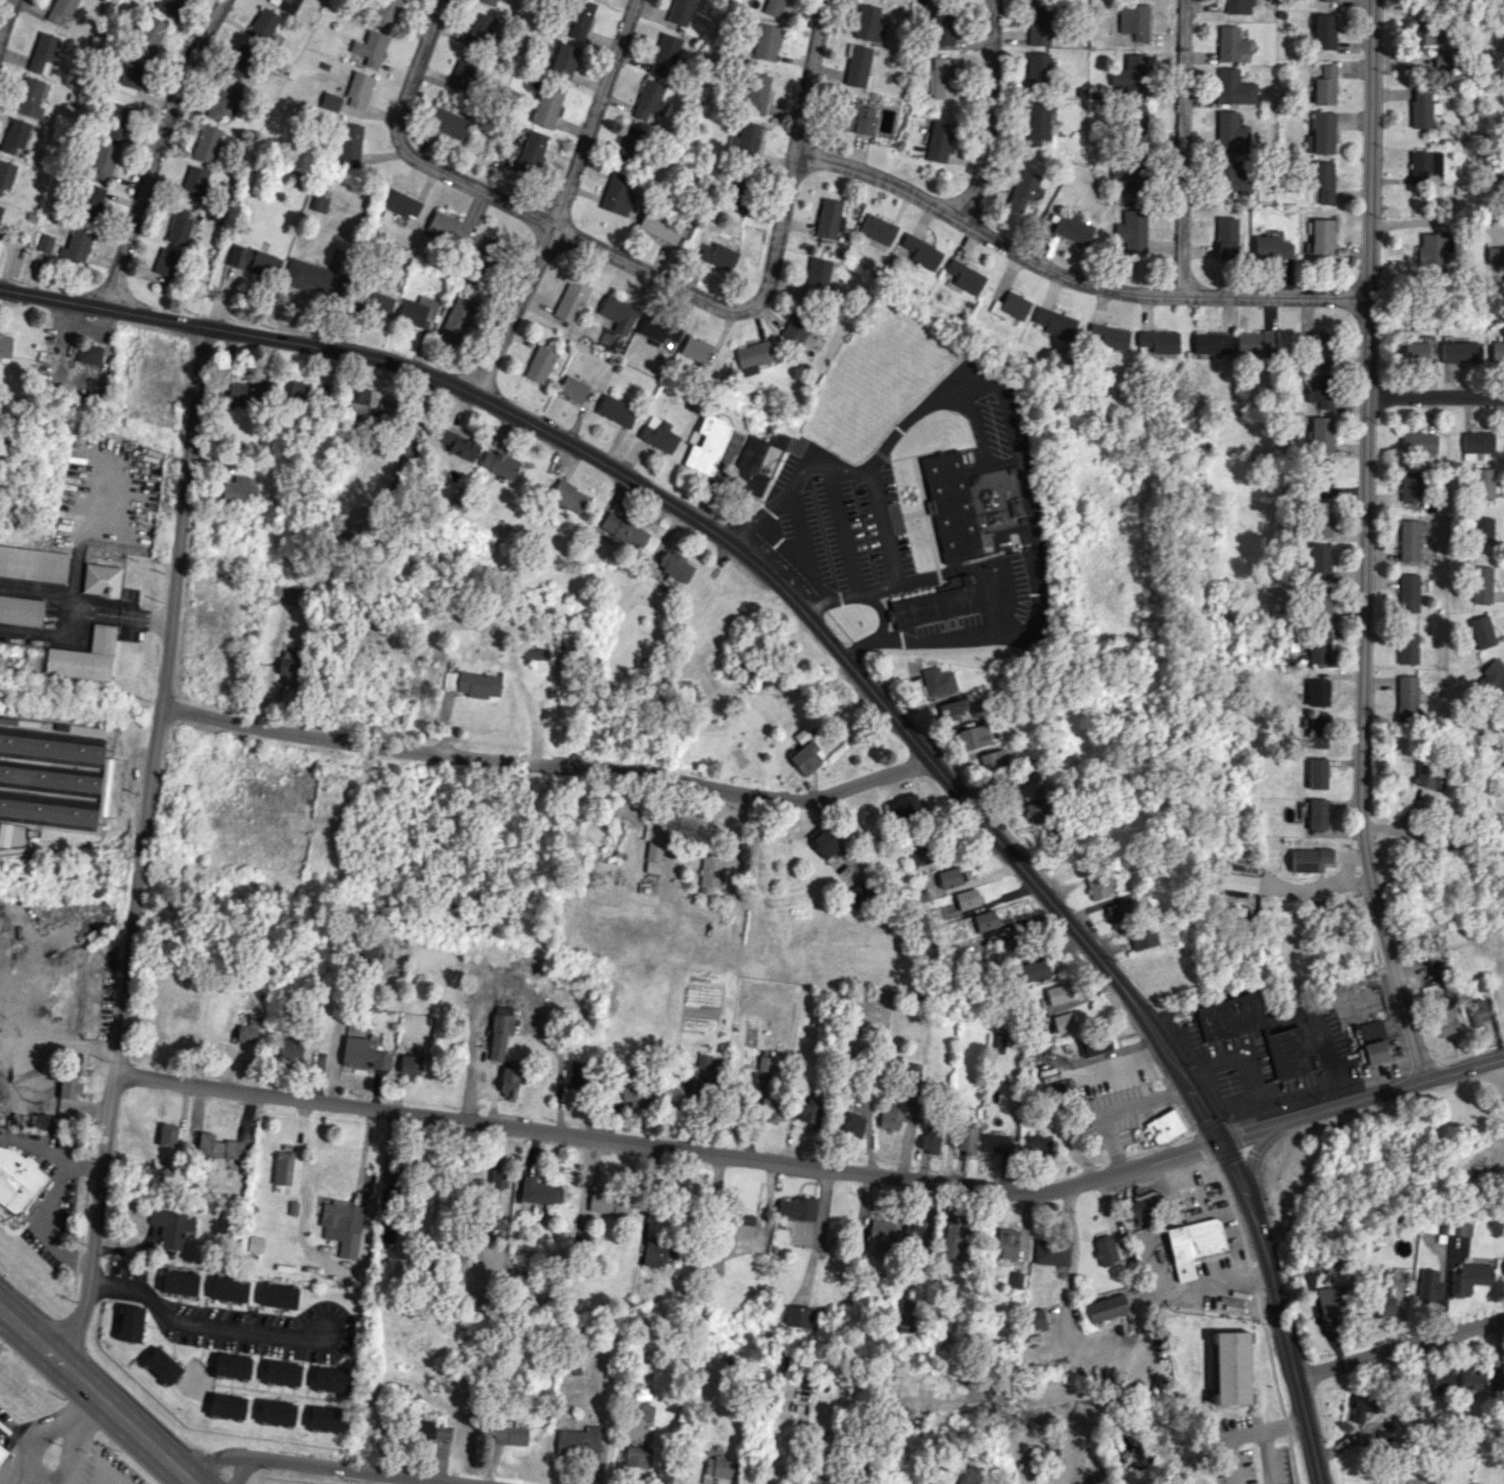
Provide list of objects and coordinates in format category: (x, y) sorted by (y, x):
building: (104, 0)
building: (1328, 0)
building: (491, 2)
building: (285, 5)
building: (167, 6)
building: (1237, 6)
building: (773, 7)
building: (61, 10)
building: (680, 11)
road: (5, 13)
building: (386, 13)
building: (579, 18)
building: (1132, 21)
building: (264, 22)
building: (868, 24)
building: (1037, 25)
building: (943, 27)
building: (479, 30)
building: (1325, 30)
building: (1425, 33)
building: (147, 37)
building: (766, 42)
building: (1230, 43)
building: (370, 48)
building: (42, 53)
building: (664, 55)
building: (561, 60)
building: (1442, 60)
building: (239, 61)
road: (415, 65)
building: (858, 67)
building: (1036, 70)
building: (463, 71)
building: (1130, 75)
building: (130, 77)
building: (942, 78)
building: (1324, 85)
building: (1233, 87)
building: (358, 89)
building: (756, 93)
building: (29, 98)
building: (649, 99)
building: (222, 101)
building: (330, 101)
building: (546, 105)
building: (1422, 108)
road: (991, 112)
building: (859, 118)
building: (116, 121)
building: (1135, 122)
building: (1036, 123)
building: (449, 124)
building: (1230, 133)
building: (1321, 134)
building: (15, 135)
building: (745, 140)
building: (939, 141)
building: (206, 143)
building: (347, 144)
building: (630, 144)
road: (1179, 147)
road: (156, 150)
building: (530, 152)
building: (103, 160)
building: (1424, 166)
building: (1128, 174)
building: (6, 175)
building: (1231, 178)
building: (194, 180)
building: (1322, 180)
building: (1022, 189)
building: (736, 193)
building: (617, 194)
building: (320, 200)
road: (562, 200)
building: (90, 202)
building: (401, 204)
building: (1, 210)
building: (829, 219)
building: (447, 225)
building: (179, 226)
building: (659, 226)
building: (877, 228)
building: (1072, 229)
building: (1131, 231)
building: (1322, 237)
building: (1225, 239)
building: (45, 243)
building: (76, 245)
building: (1270, 247)
building: (1432, 249)
building: (487, 251)
building: (922, 251)
building: (1495, 255)
building: (718, 256)
building: (165, 261)
building: (254, 261)
building: (818, 274)
building: (311, 276)
building: (965, 276)
road: (1067, 276)
building: (571, 300)
road: (707, 301)
building: (378, 303)
building: (1010, 306)
building: (417, 309)
building: (618, 314)
building: (457, 319)
building: (1054, 322)
building: (795, 329)
building: (658, 330)
building: (1108, 337)
building: (1157, 341)
building: (1210, 343)
building: (1254, 343)
building: (5, 347)
building: (1497, 348)
building: (696, 349)
building: (1319, 349)
building: (1415, 351)
building: (1460, 352)
building: (88, 353)
building: (753, 357)
building: (539, 364)
building: (573, 389)
building: (250, 390)
building: (297, 390)
building: (1320, 390)
road: (1435, 397)
building: (357, 400)
building: (614, 410)
building: (380, 416)
building: (658, 434)
building: (1321, 434)
building: (778, 440)
building: (1419, 443)
building: (1476, 444)
building: (459, 445)
building: (708, 445)
building: (499, 464)
building: (750, 467)
building: (1482, 483)
building: (1410, 486)
building: (238, 490)
road: (872, 490)
building: (568, 496)
building: (952, 508)
building: (1321, 518)
building: (357, 522)
building: (1482, 528)
building: (623, 530)
building: (1409, 540)
road: (728, 542)
road: (1365, 544)
building: (1319, 561)
building: (33, 564)
building: (674, 565)
building: (103, 576)
building: (1481, 584)
building: (1408, 592)
building: (935, 603)
building: (1322, 603)
building: (20, 609)
building: (1481, 631)
road: (881, 635)
building: (1318, 646)
building: (1407, 648)
building: (535, 653)
building: (85, 657)
building: (289, 669)
building: (1492, 679)
building: (937, 681)
building: (471, 683)
building: (1320, 689)
building: (1407, 695)
building: (950, 709)
building: (1317, 732)
building: (801, 736)
building: (972, 737)
building: (805, 757)
building: (993, 761)
road: (545, 762)
building: (1317, 773)
building: (1425, 774)
building: (49, 776)
building: (1024, 785)
building: (905, 807)
building: (1036, 811)
building: (1317, 813)
building: (4, 834)
building: (822, 841)
road: (141, 844)
building: (653, 844)
building: (918, 855)
building: (1309, 859)
building: (710, 872)
building: (950, 877)
building: (1237, 882)
building: (1097, 887)
building: (859, 893)
building: (967, 899)
building: (1237, 902)
building: (1116, 911)
building: (985, 920)
building: (1141, 938)
building: (1005, 947)
building: (365, 953)
building: (77, 962)
building: (1035, 970)
building: (582, 990)
building: (1057, 993)
building: (1476, 1012)
building: (1229, 1017)
building: (77, 1019)
building: (1062, 1022)
building: (1444, 1022)
building: (247, 1030)
building: (499, 1034)
building: (1373, 1042)
building: (997, 1044)
building: (1097, 1044)
building: (289, 1048)
building: (364, 1053)
building: (1287, 1053)
building: (703, 1061)
building: (764, 1063)
building: (409, 1065)
building: (577, 1073)
building: (510, 1081)
building: (69, 1086)
building: (704, 1087)
building: (1056, 1088)
building: (636, 1089)
road: (1364, 1099)
building: (772, 1106)
building: (810, 1113)
building: (890, 1116)
building: (852, 1123)
building: (1164, 1126)
building: (167, 1135)
building: (930, 1139)
building: (966, 1139)
building: (995, 1143)
building: (218, 1146)
building: (1036, 1146)
road: (34, 1148)
road: (671, 1148)
road: (83, 1167)
building: (281, 1167)
building: (497, 1177)
building: (18, 1180)
building: (539, 1192)
road: (55, 1202)
building: (609, 1202)
building: (1141, 1205)
building: (797, 1208)
building: (498, 1223)
building: (1432, 1224)
building: (740, 1225)
building: (342, 1226)
building: (171, 1227)
building: (1462, 1227)
building: (879, 1234)
building: (953, 1237)
building: (1005, 1243)
building: (1192, 1244)
building: (1104, 1250)
building: (657, 1252)
building: (1051, 1252)
road: (66, 1255)
building: (1503, 1275)
building: (1469, 1278)
building: (1015, 1280)
building: (179, 1282)
building: (1429, 1285)
building: (229, 1289)
building: (1382, 1293)
building: (278, 1296)
building: (1329, 1300)
building: (1105, 1308)
road: (1280, 1311)
building: (907, 1312)
building: (796, 1316)
building: (1034, 1319)
building: (130, 1323)
road: (202, 1325)
road: (1400, 1348)
building: (162, 1365)
building: (231, 1366)
building: (1230, 1367)
building: (281, 1372)
building: (331, 1379)
building: (1441, 1379)
building: (1472, 1380)
building: (1497, 1384)
road: (96, 1396)
building: (1362, 1405)
building: (226, 1406)
building: (643, 1409)
building: (276, 1412)
building: (326, 1419)
road: (1287, 1426)
building: (432, 1430)
road: (49, 1431)
building: (508, 1433)
building: (577, 1442)
road: (1229, 1442)
building: (3, 1447)
road: (66, 1454)
building: (636, 1456)
road: (1267, 1457)
road: (12, 1458)
road: (318, 1465)
road: (241, 1469)
building: (716, 1469)
building: (819, 1477)
road: (1055, 1481)
road: (112, 1482)

